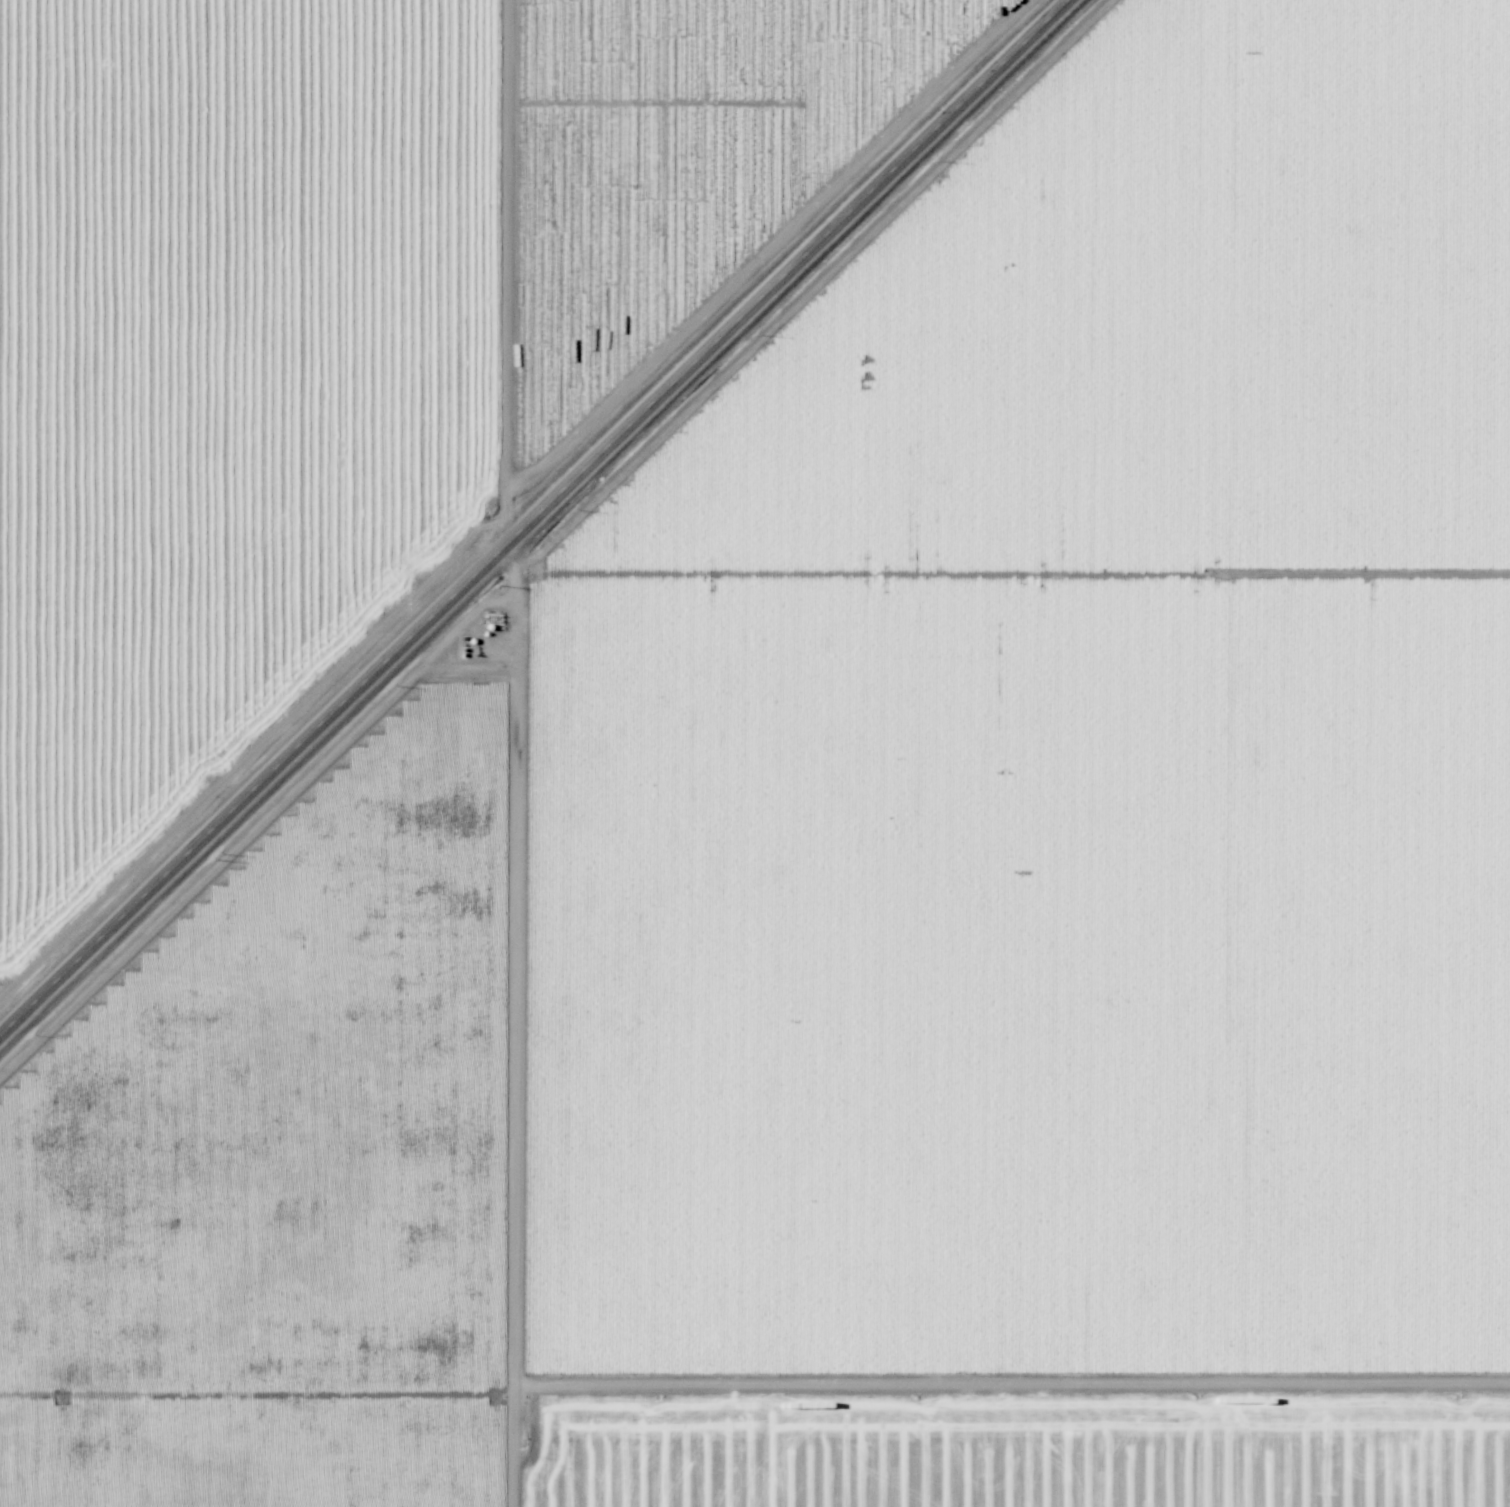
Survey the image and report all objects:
road: (543, 525)

